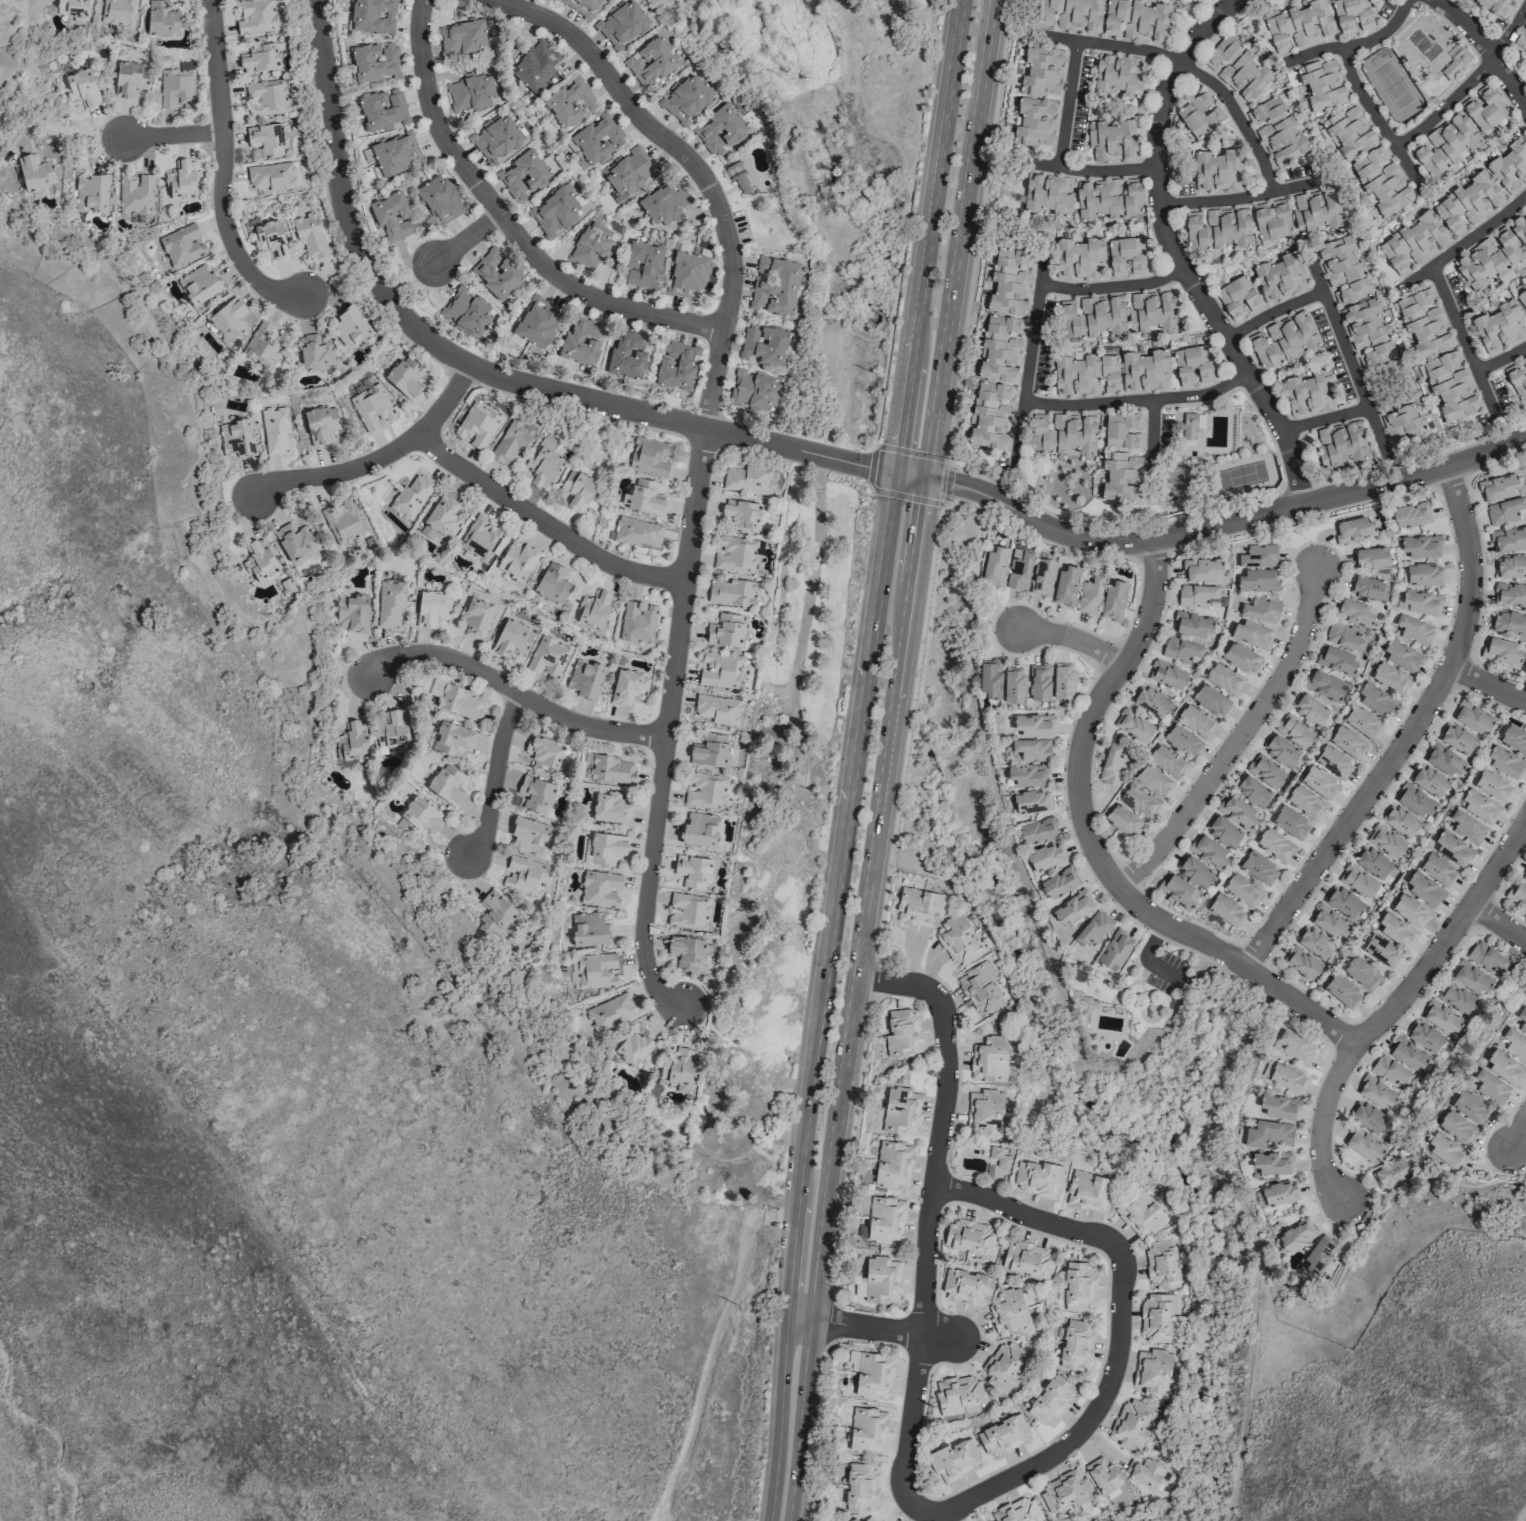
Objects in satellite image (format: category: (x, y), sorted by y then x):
building: (1513, 1)
building: (71, 7)
building: (583, 7)
building: (1495, 7)
building: (118, 12)
building: (1071, 14)
building: (255, 16)
building: (1351, 16)
building: (374, 17)
building: (161, 19)
building: (1136, 20)
building: (622, 25)
building: (1299, 26)
building: (463, 38)
building: (1521, 39)
road: (1357, 47)
road: (1485, 47)
building: (259, 58)
building: (650, 61)
building: (373, 62)
building: (1455, 63)
building: (535, 65)
building: (1237, 68)
road: (1188, 71)
building: (1042, 72)
building: (1118, 74)
building: (129, 79)
building: (1321, 84)
building: (177, 86)
building: (82, 87)
road: (1468, 88)
building: (471, 92)
building: (266, 97)
building: (686, 98)
building: (570, 102)
road: (1070, 106)
building: (382, 109)
building: (1485, 110)
building: (1199, 115)
building: (1035, 121)
road: (1380, 124)
building: (719, 130)
building: (1277, 131)
building: (1349, 132)
road: (174, 136)
building: (495, 138)
building: (265, 139)
building: (595, 140)
building: (1111, 140)
building: (1445, 144)
building: (396, 154)
building: (1510, 166)
road: (694, 167)
building: (1217, 170)
building: (35, 173)
road: (1096, 173)
building: (523, 174)
building: (628, 174)
building: (271, 176)
building: (737, 177)
road: (224, 178)
building: (181, 180)
building: (1381, 181)
building: (91, 193)
building: (135, 194)
building: (1048, 194)
building: (441, 199)
building: (1107, 199)
road: (1248, 199)
building: (1468, 202)
building: (662, 205)
building: (1316, 210)
building: (555, 213)
building: (391, 215)
building: (1272, 220)
road: (507, 225)
building: (1217, 228)
building: (1519, 229)
building: (309, 235)
road: (928, 237)
building: (270, 239)
road: (957, 240)
building: (1413, 243)
road: (1468, 244)
building: (181, 245)
building: (591, 246)
road: (456, 249)
road: (1175, 253)
building: (1125, 256)
building: (1079, 258)
building: (1488, 259)
building: (642, 265)
building: (1343, 270)
building: (496, 273)
building: (686, 274)
building: (1280, 277)
building: (1009, 281)
building: (199, 285)
building: (775, 285)
road: (1114, 289)
road: (400, 290)
building: (1237, 297)
building: (1522, 298)
building: (1151, 311)
building: (467, 312)
road: (1275, 315)
building: (1092, 316)
building: (228, 319)
building: (537, 321)
building: (1423, 323)
building: (1499, 327)
building: (350, 328)
building: (1368, 333)
building: (1283, 340)
building: (582, 341)
building: (763, 344)
building: (264, 345)
road: (1466, 347)
building: (999, 349)
building: (314, 353)
building: (627, 355)
road: (1349, 358)
road: (1502, 362)
building: (676, 365)
building: (1191, 365)
road: (480, 368)
road: (1030, 368)
building: (1144, 371)
building: (1085, 374)
building: (405, 377)
building: (1517, 377)
building: (1450, 387)
building: (755, 391)
building: (1309, 393)
road: (1139, 403)
building: (371, 407)
building: (990, 415)
road: (1327, 422)
building: (321, 423)
building: (1403, 424)
building: (477, 425)
building: (1190, 425)
building: (274, 430)
building: (1122, 430)
building: (1063, 433)
building: (236, 438)
building: (510, 442)
building: (1340, 444)
road: (1154, 453)
building: (649, 457)
road: (380, 459)
building: (542, 466)
traffic signals: (895, 474)
building: (1121, 477)
building: (747, 479)
traffic signals: (923, 480)
building: (1499, 487)
building: (577, 491)
building: (411, 497)
building: (645, 497)
building: (1504, 511)
building: (741, 514)
building: (1410, 515)
building: (441, 518)
building: (343, 521)
road: (546, 522)
building: (1354, 529)
road: (1209, 530)
building: (636, 532)
building: (479, 538)
building: (1508, 539)
building: (293, 540)
building: (1420, 546)
building: (736, 555)
building: (1258, 556)
building: (1371, 558)
building: (260, 560)
building: (517, 560)
building: (1511, 566)
building: (994, 567)
building: (1018, 569)
building: (1202, 569)
building: (1424, 574)
building: (1042, 577)
building: (1256, 581)
building: (552, 583)
building: (1066, 585)
building: (1367, 588)
building: (731, 592)
building: (1090, 594)
building: (1509, 594)
building: (1196, 595)
building: (1113, 601)
building: (390, 602)
building: (1419, 602)
building: (431, 608)
building: (594, 610)
building: (1260, 610)
building: (351, 613)
building: (1354, 613)
building: (475, 619)
building: (637, 622)
building: (1509, 622)
building: (1193, 624)
building: (725, 630)
building: (1414, 630)
building: (1252, 634)
building: (1343, 636)
building: (511, 639)
road: (1075, 641)
building: (1181, 649)
building: (1504, 651)
building: (1402, 655)
building: (548, 657)
building: (1241, 658)
building: (1337, 661)
building: (719, 670)
building: (1167, 674)
building: (989, 678)
building: (1390, 678)
building: (585, 679)
building: (1224, 679)
building: (1063, 681)
building: (1039, 683)
building: (1013, 685)
building: (1324, 685)
road: (1488, 687)
building: (627, 688)
road: (517, 691)
building: (1210, 700)
building: (1377, 700)
building: (457, 701)
building: (1151, 701)
building: (716, 709)
building: (1310, 710)
building: (1474, 716)
building: (1196, 721)
building: (1362, 722)
road: (671, 723)
building: (1034, 725)
building: (1133, 725)
building: (392, 729)
building: (1294, 731)
road: (1411, 737)
building: (1457, 738)
building: (1514, 739)
building: (452, 740)
building: (1182, 740)
road: (1240, 741)
building: (352, 742)
building: (1347, 742)
building: (1031, 749)
building: (1281, 750)
building: (709, 751)
building: (544, 752)
building: (1444, 760)
building: (1167, 761)
building: (1333, 762)
building: (1505, 762)
building: (1111, 766)
building: (611, 769)
building: (1265, 771)
building: (1028, 775)
road: (497, 777)
building: (1153, 781)
building: (1429, 781)
building: (1319, 782)
building: (447, 784)
building: (1493, 785)
building: (705, 791)
building: (1252, 791)
building: (535, 794)
building: (1031, 801)
building: (1138, 801)
building: (1416, 801)
building: (1305, 802)
building: (1480, 805)
building: (610, 808)
building: (1237, 811)
building: (421, 815)
building: (1122, 820)
building: (1401, 821)
building: (1290, 822)
building: (1467, 827)
building: (699, 830)
building: (1037, 830)
building: (1224, 831)
building: (528, 835)
building: (1386, 840)
building: (1275, 844)
building: (606, 848)
building: (1452, 849)
road: (1096, 852)
building: (1209, 852)
building: (1045, 856)
building: (1372, 862)
building: (1258, 868)
building: (1438, 869)
building: (692, 871)
building: (1194, 871)
building: (524, 875)
building: (1523, 876)
building: (1357, 881)
building: (1059, 883)
building: (600, 888)
building: (1424, 888)
building: (1242, 890)
building: (1178, 891)
building: (1517, 896)
building: (1343, 901)
building: (918, 907)
building: (1073, 907)
building: (1226, 909)
building: (1409, 909)
building: (687, 911)
building: (494, 914)
building: (1329, 922)
road: (1499, 925)
building: (589, 929)
building: (1093, 929)
building: (1396, 930)
building: (957, 940)
building: (1314, 942)
building: (1115, 949)
building: (1381, 950)
building: (686, 951)
road: (1147, 957)
building: (1486, 957)
building: (1301, 962)
building: (596, 971)
building: (1361, 974)
building: (1471, 978)
building: (979, 988)
building: (1342, 990)
road: (821, 996)
building: (1456, 997)
road: (848, 999)
building: (1088, 1005)
building: (608, 1013)
road: (1391, 1013)
building: (1442, 1017)
building: (1522, 1018)
road: (1169, 1023)
building: (902, 1033)
building: (1425, 1036)
building: (1515, 1044)
building: (633, 1046)
building: (1293, 1047)
building: (1408, 1054)
building: (989, 1060)
building: (1504, 1067)
building: (678, 1068)
building: (1390, 1071)
building: (1287, 1077)
building: (1491, 1086)
building: (1376, 1093)
building: (1470, 1106)
building: (1279, 1107)
building: (900, 1111)
building: (984, 1112)
building: (1367, 1117)
building: (1456, 1127)
building: (1268, 1133)
road: (1514, 1137)
building: (1364, 1144)
building: (1446, 1150)
building: (998, 1157)
building: (1271, 1162)
building: (893, 1164)
building: (995, 1173)
building: (1391, 1173)
building: (1038, 1178)
building: (1087, 1191)
building: (1280, 1192)
road: (928, 1208)
building: (1139, 1213)
building: (885, 1219)
building: (1297, 1234)
building: (968, 1236)
building: (1319, 1254)
building: (1027, 1260)
building: (1161, 1264)
building: (881, 1279)
building: (966, 1286)
building: (1078, 1286)
building: (1009, 1313)
building: (1157, 1316)
road: (871, 1326)
road: (1123, 1342)
building: (1076, 1345)
building: (1005, 1365)
building: (1152, 1372)
building: (873, 1375)
building: (957, 1393)
building: (1051, 1401)
building: (1131, 1424)
building: (867, 1429)
building: (1003, 1436)
building: (954, 1459)
building: (1145, 1472)
building: (1102, 1474)
building: (860, 1488)
building: (1065, 1491)
building: (1016, 1511)
road: (1523, 1517)
building: (853, 1519)
building: (868, 1519)

